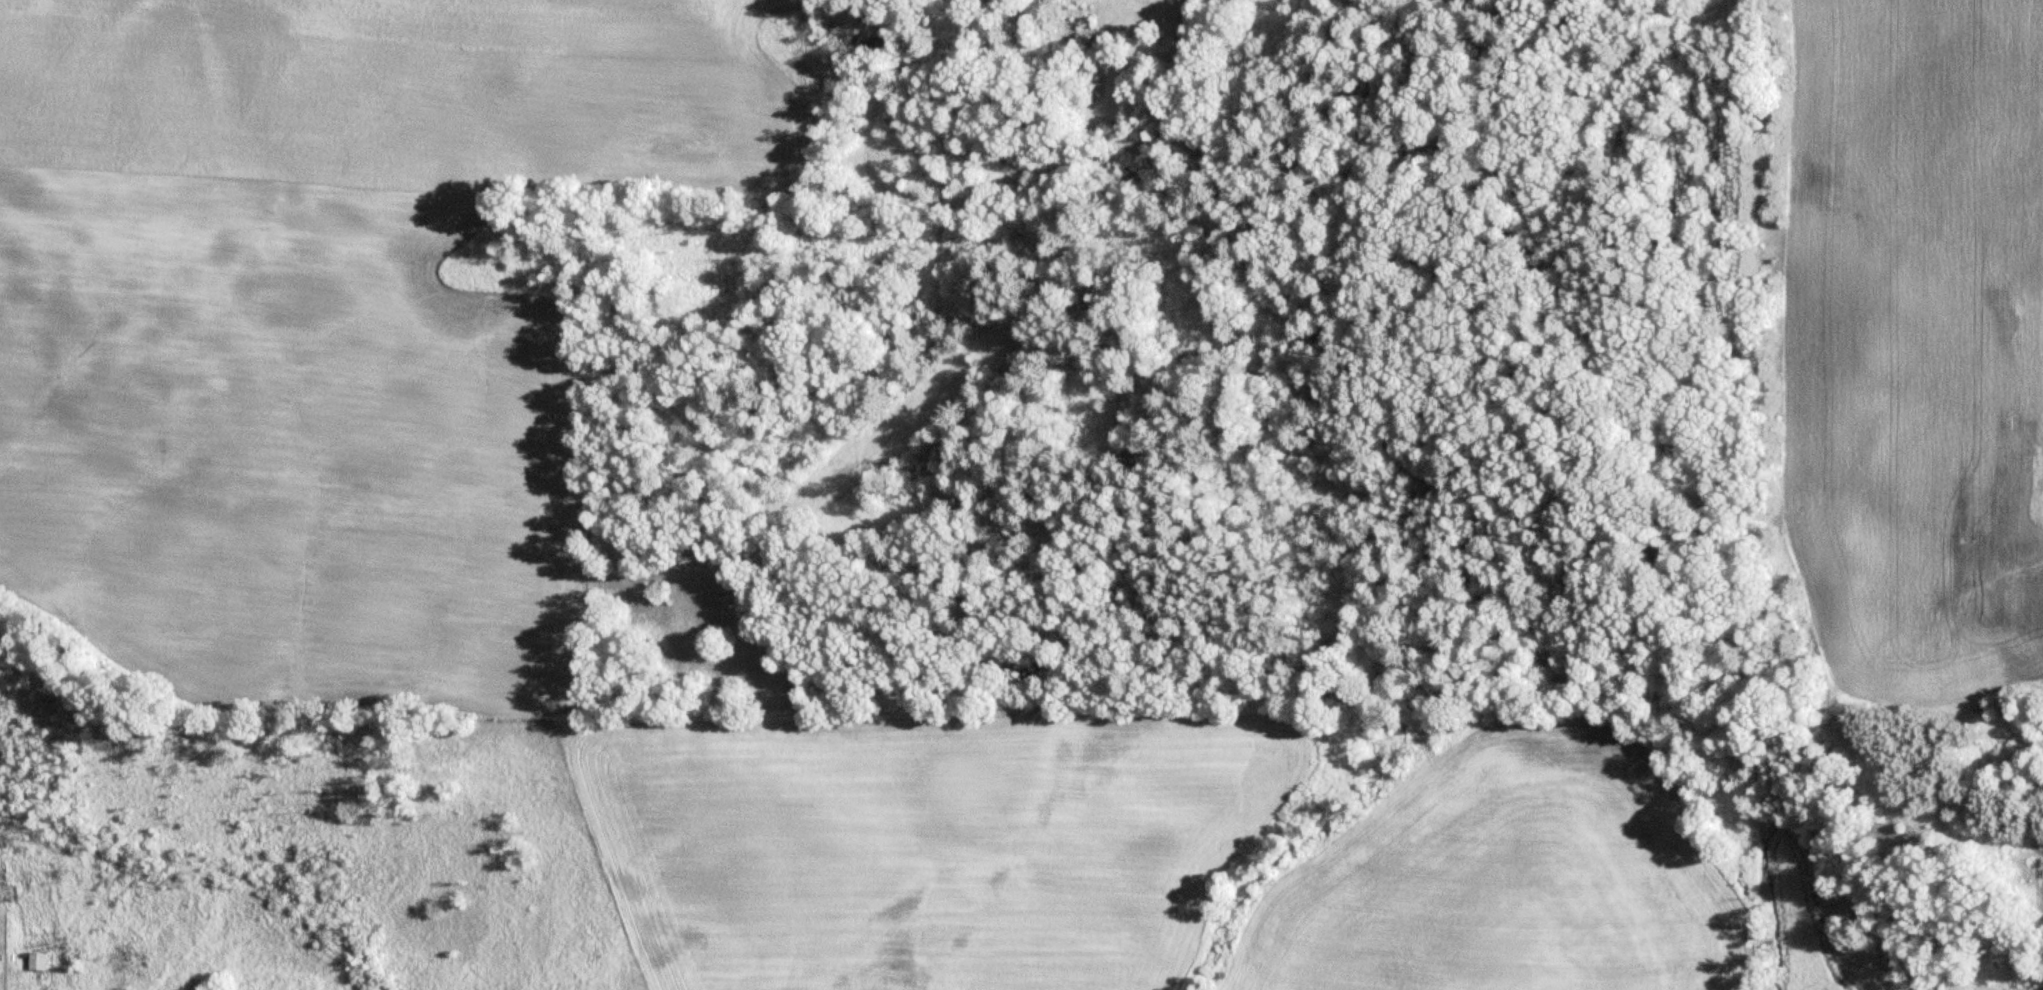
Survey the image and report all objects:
building: (42, 961)

